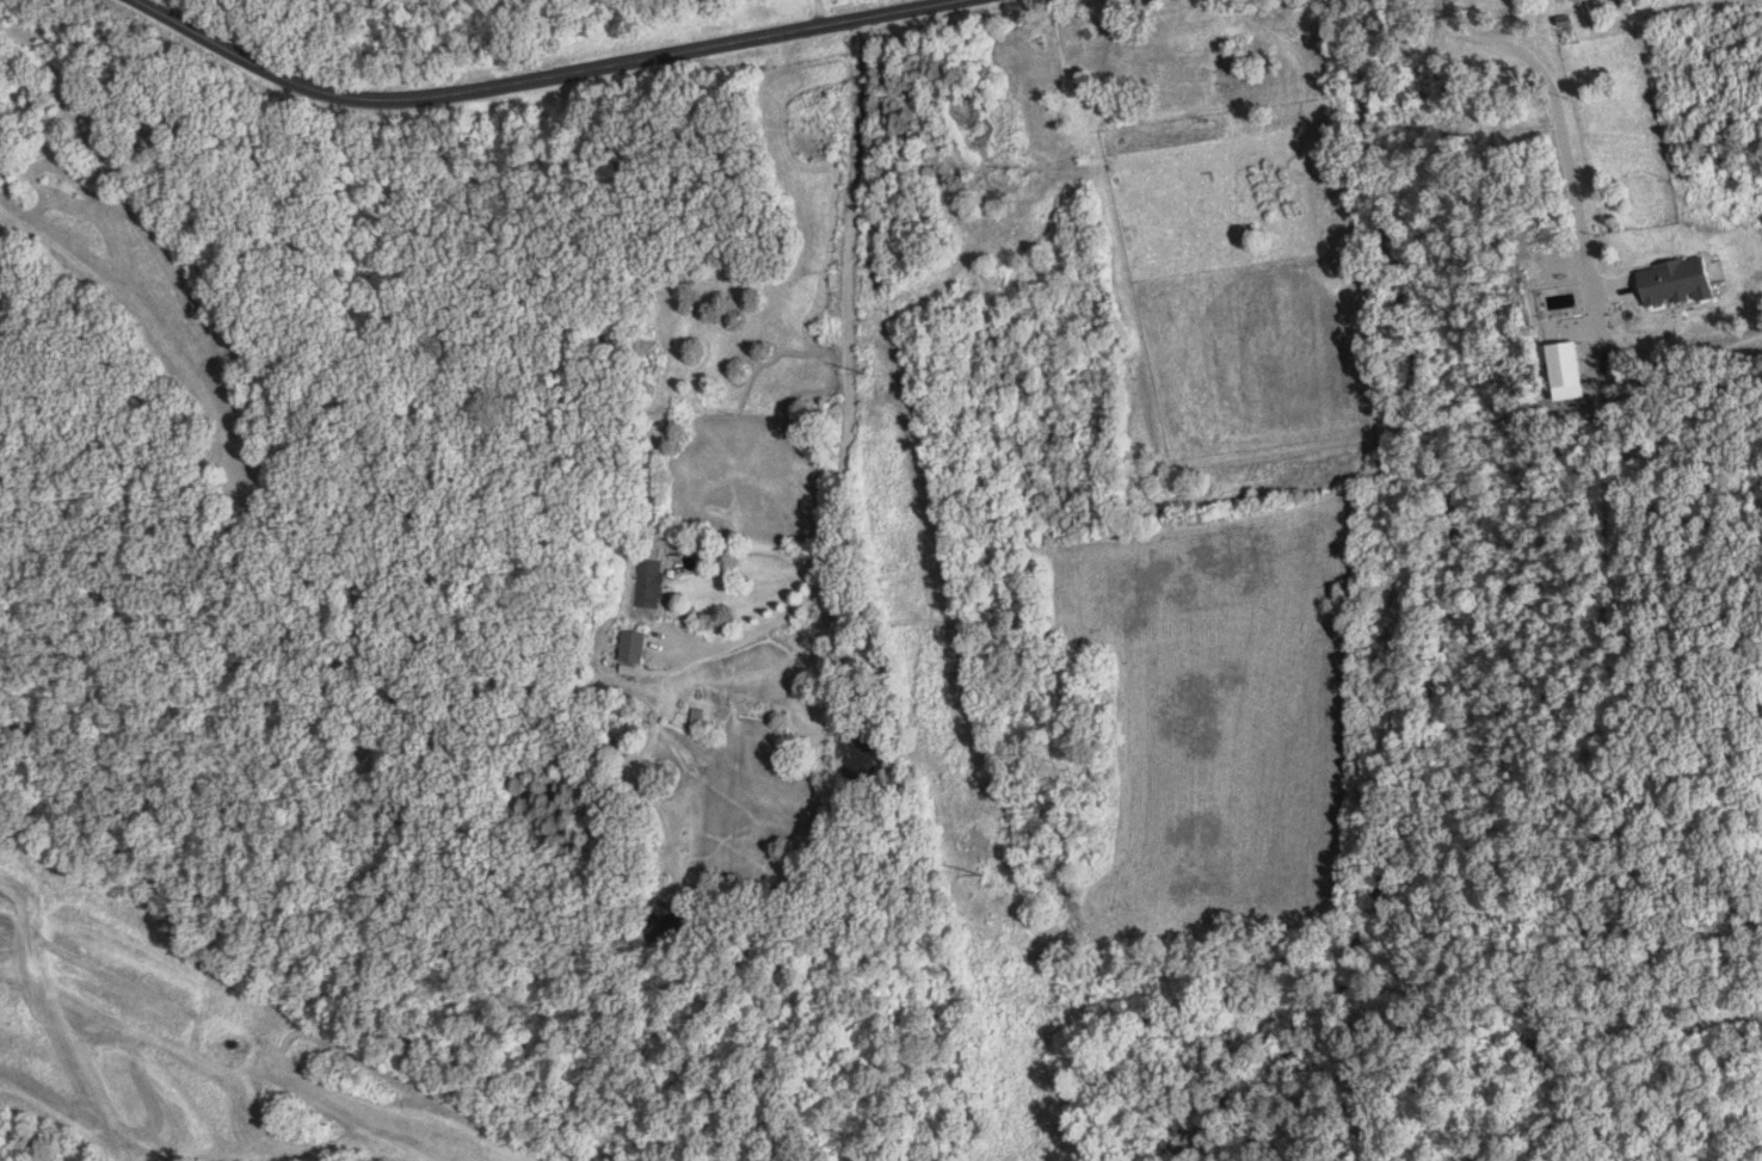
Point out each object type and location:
road: (817, 13)
building: (1557, 17)
building: (1132, 70)
road: (540, 80)
road: (1548, 116)
road: (849, 389)
building: (652, 585)
building: (635, 649)
building: (698, 721)

